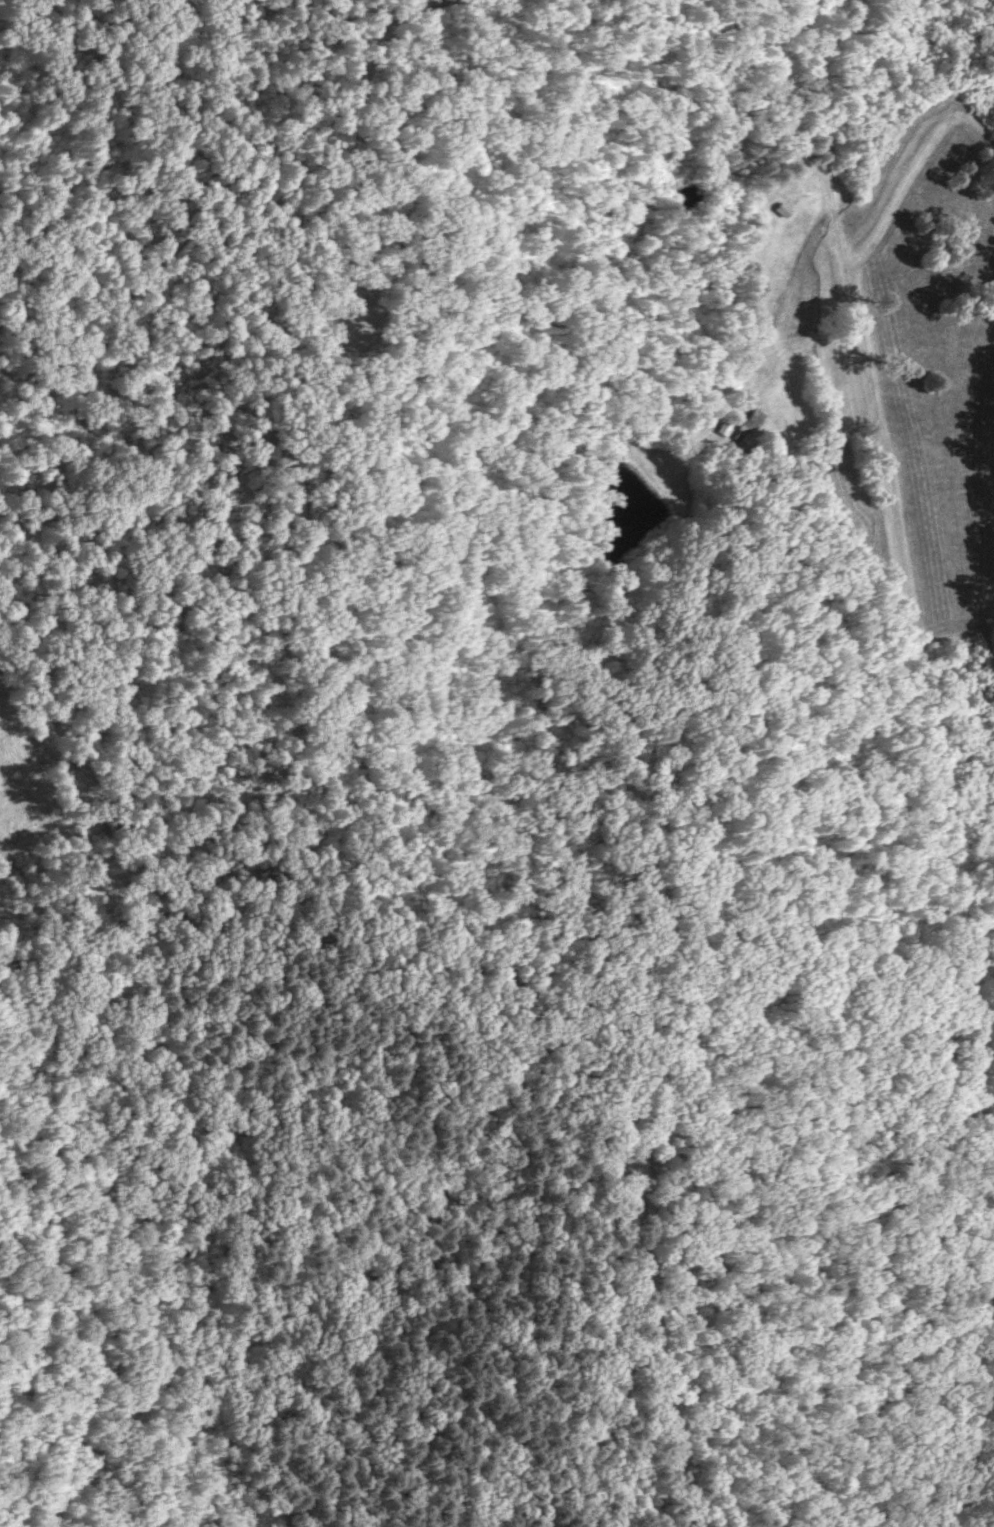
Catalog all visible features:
building: (751, 422)
road: (655, 1349)

